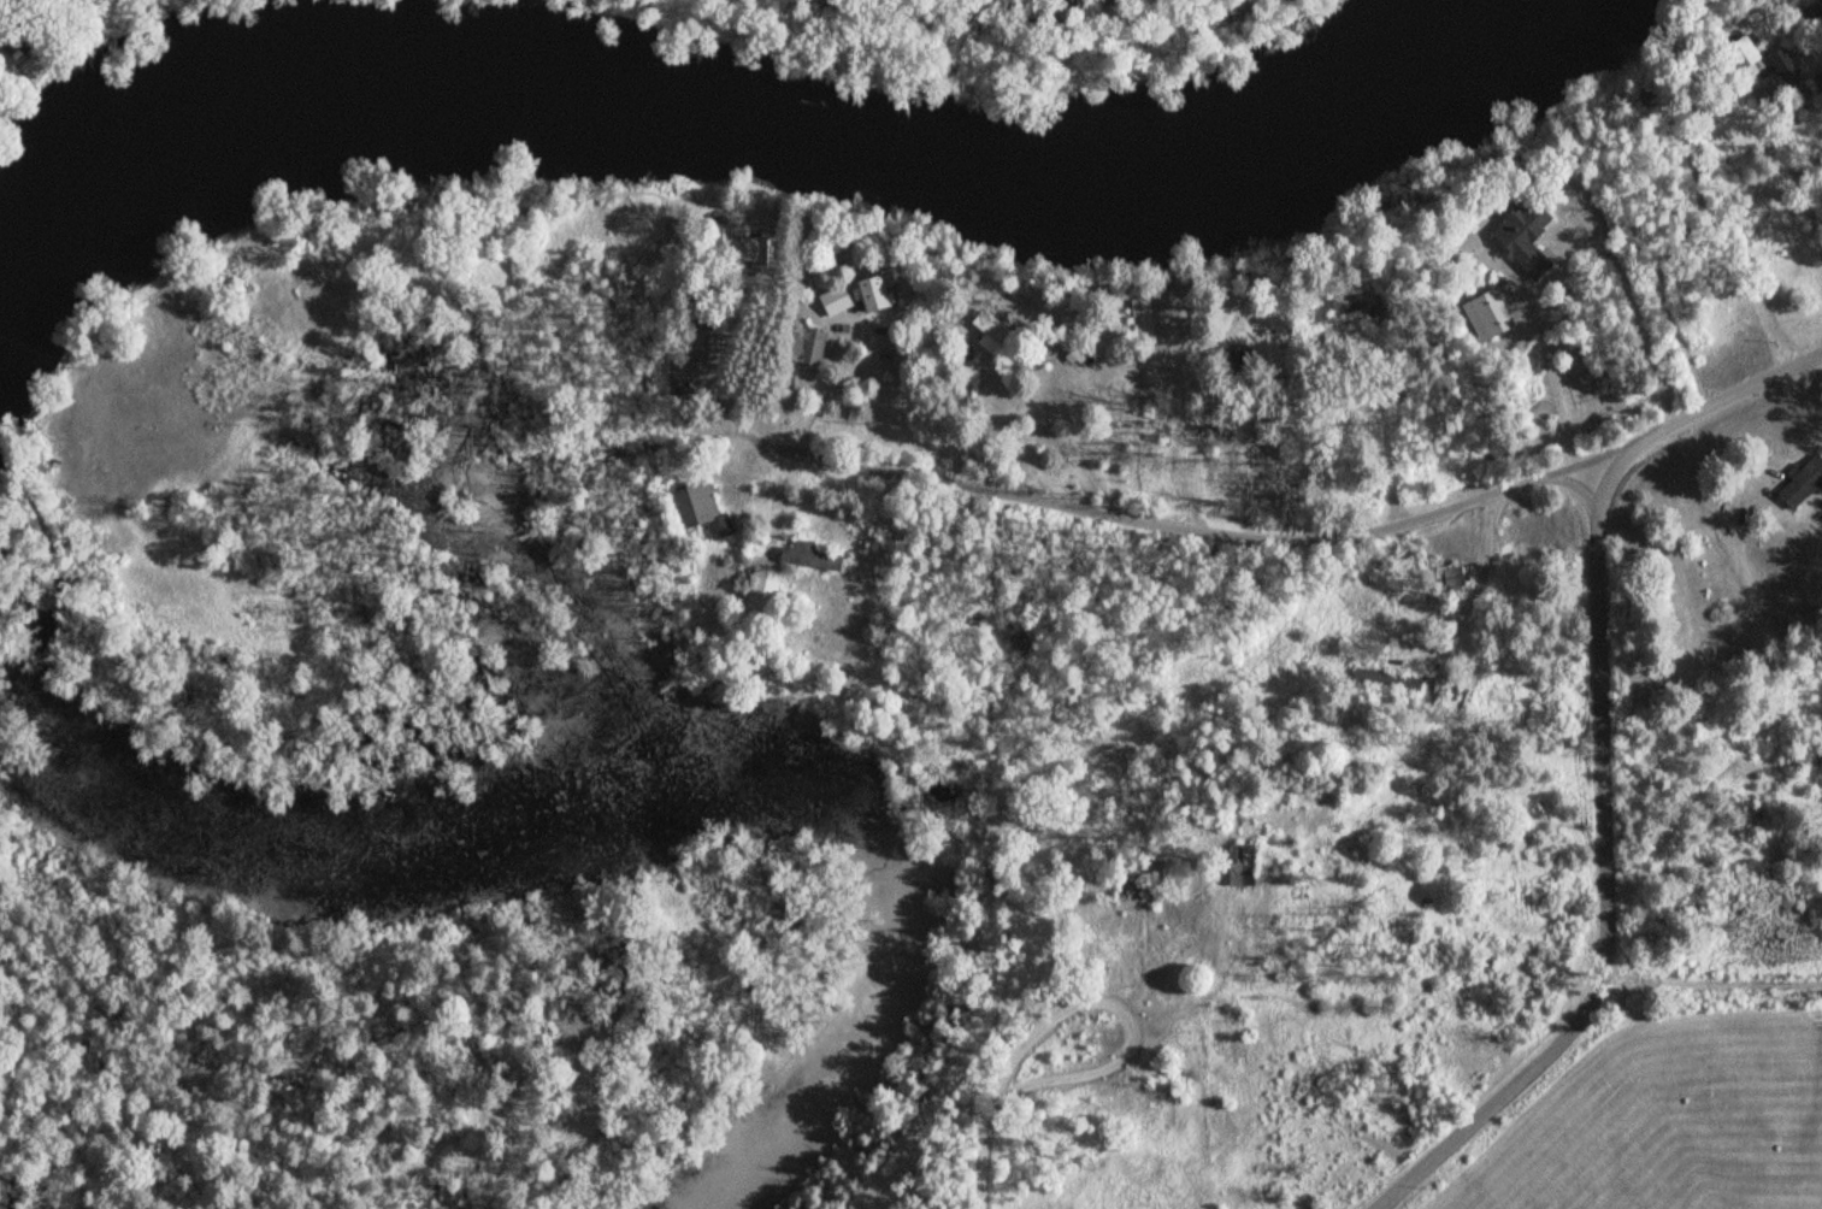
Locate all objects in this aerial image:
river: (725, 125)
building: (1531, 236)
building: (748, 250)
building: (879, 294)
building: (842, 300)
building: (1373, 308)
building: (996, 334)
building: (1804, 484)
building: (704, 509)
road: (1193, 544)
building: (815, 556)
building: (768, 586)
building: (1227, 689)
road: (1599, 760)
building: (1249, 865)
road: (1128, 1018)
road: (985, 1146)

